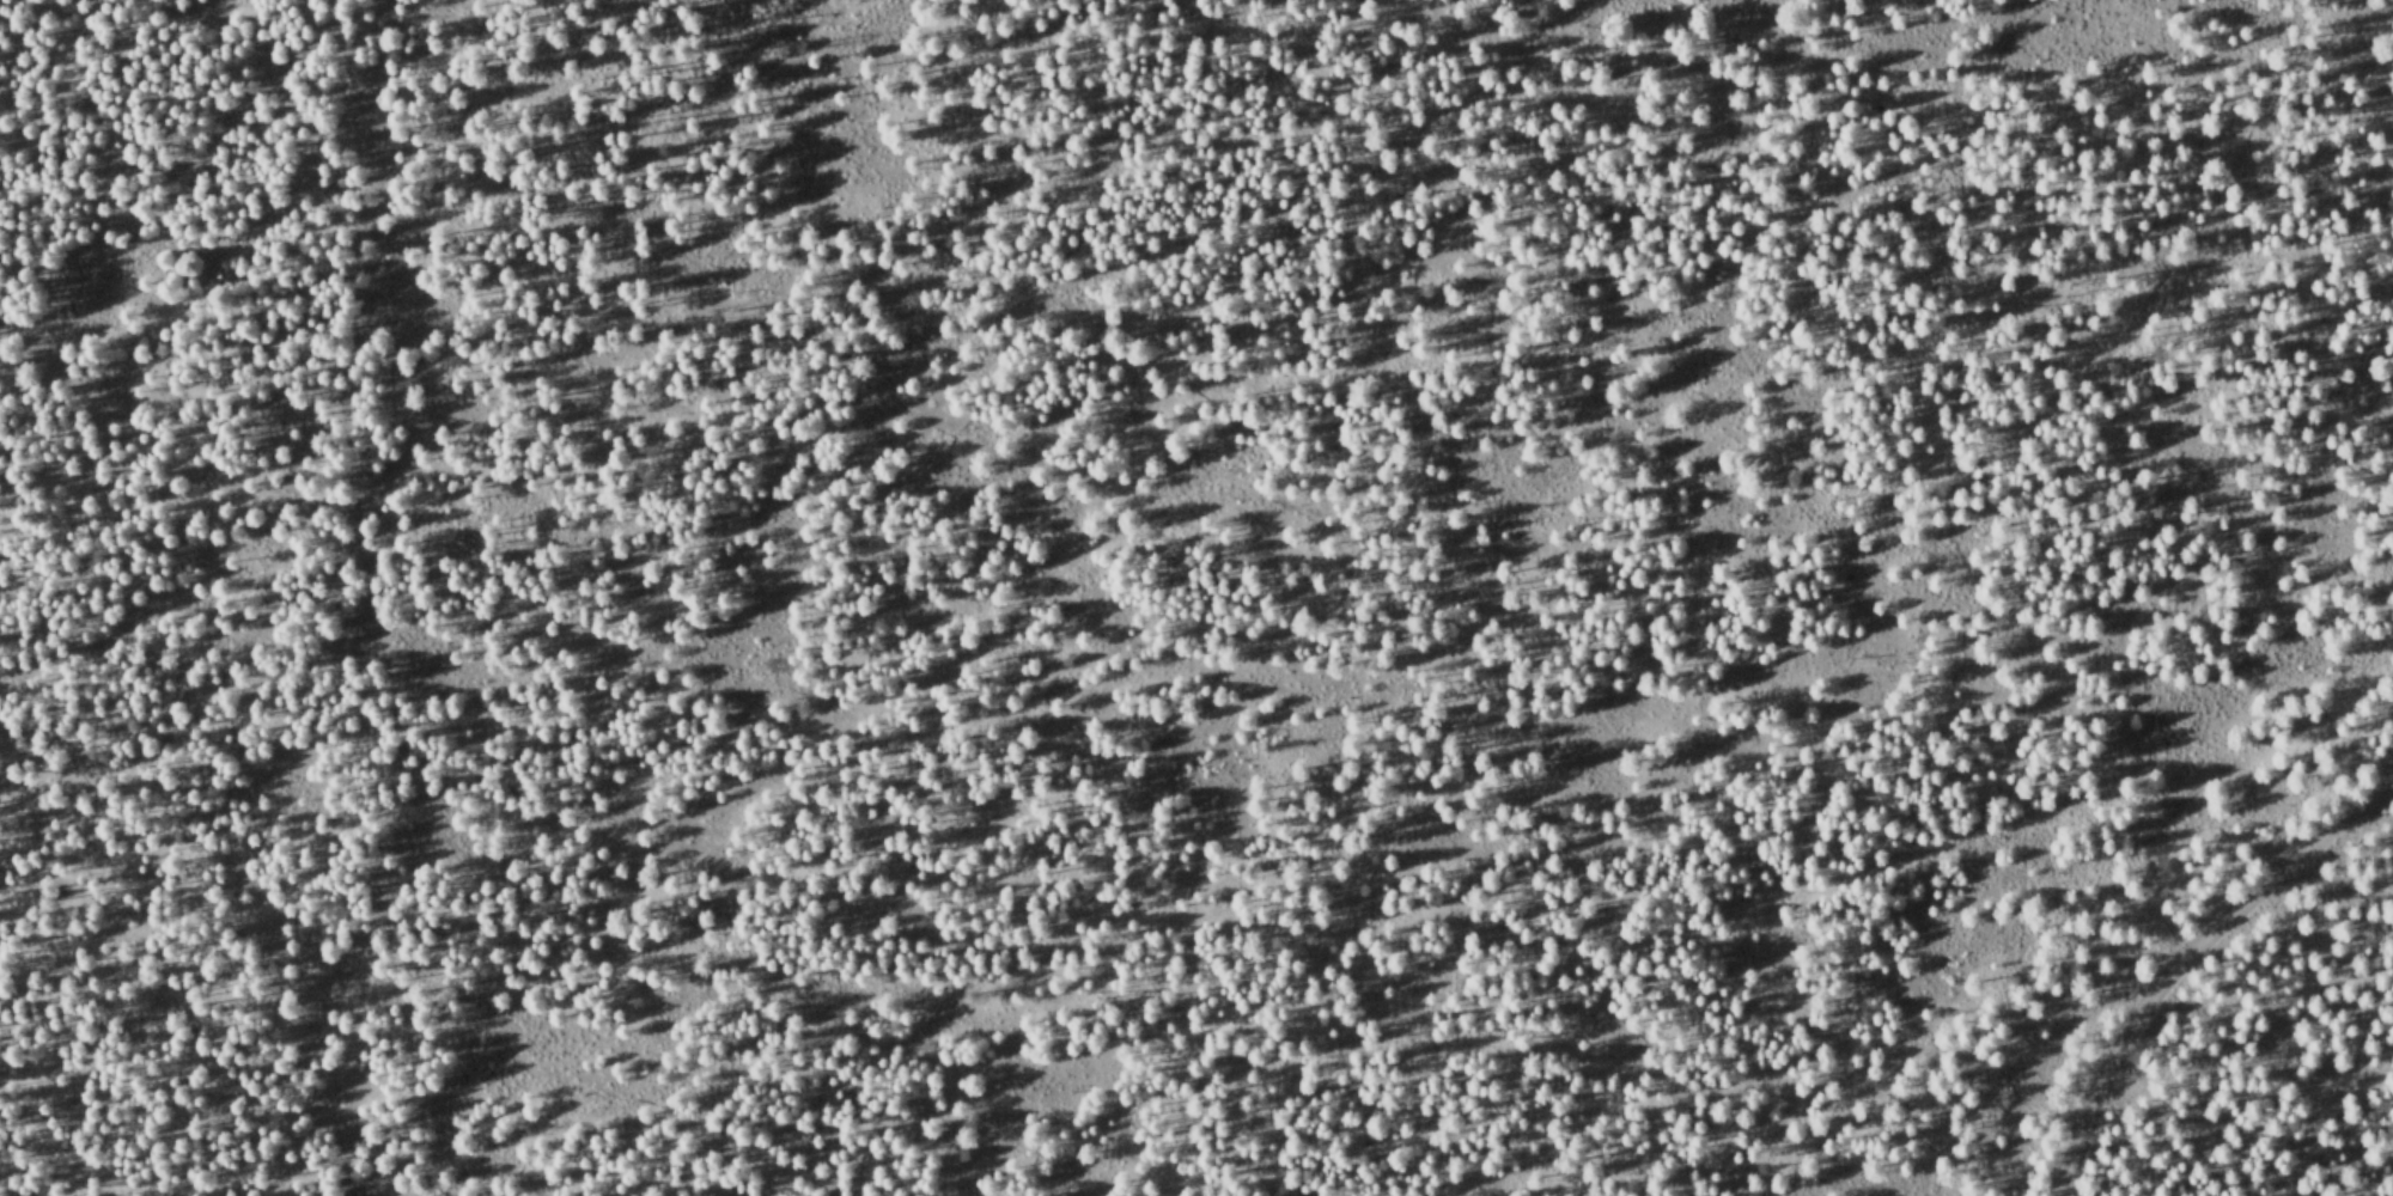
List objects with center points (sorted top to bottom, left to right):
road: (375, 598)
road: (2187, 956)

